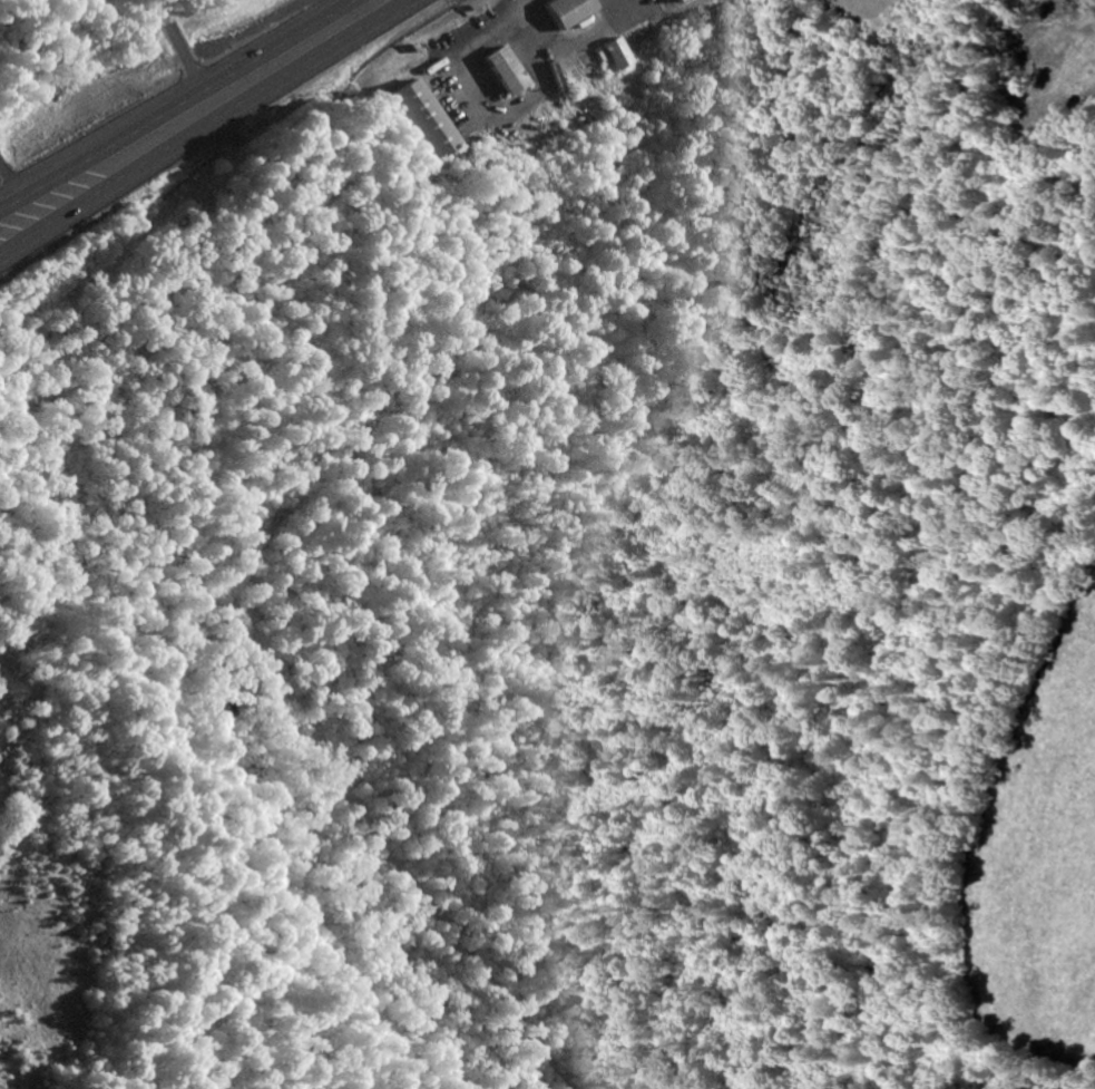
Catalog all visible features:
building: (668, 0)
building: (564, 11)
building: (610, 55)
building: (499, 70)
road: (182, 98)
road: (208, 118)
building: (415, 123)
road: (16, 244)

